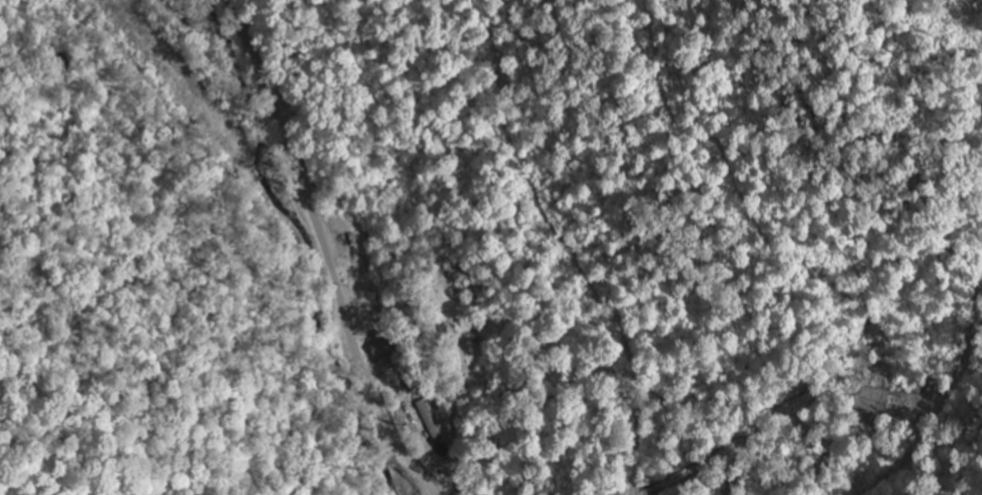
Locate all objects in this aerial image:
road: (326, 251)

